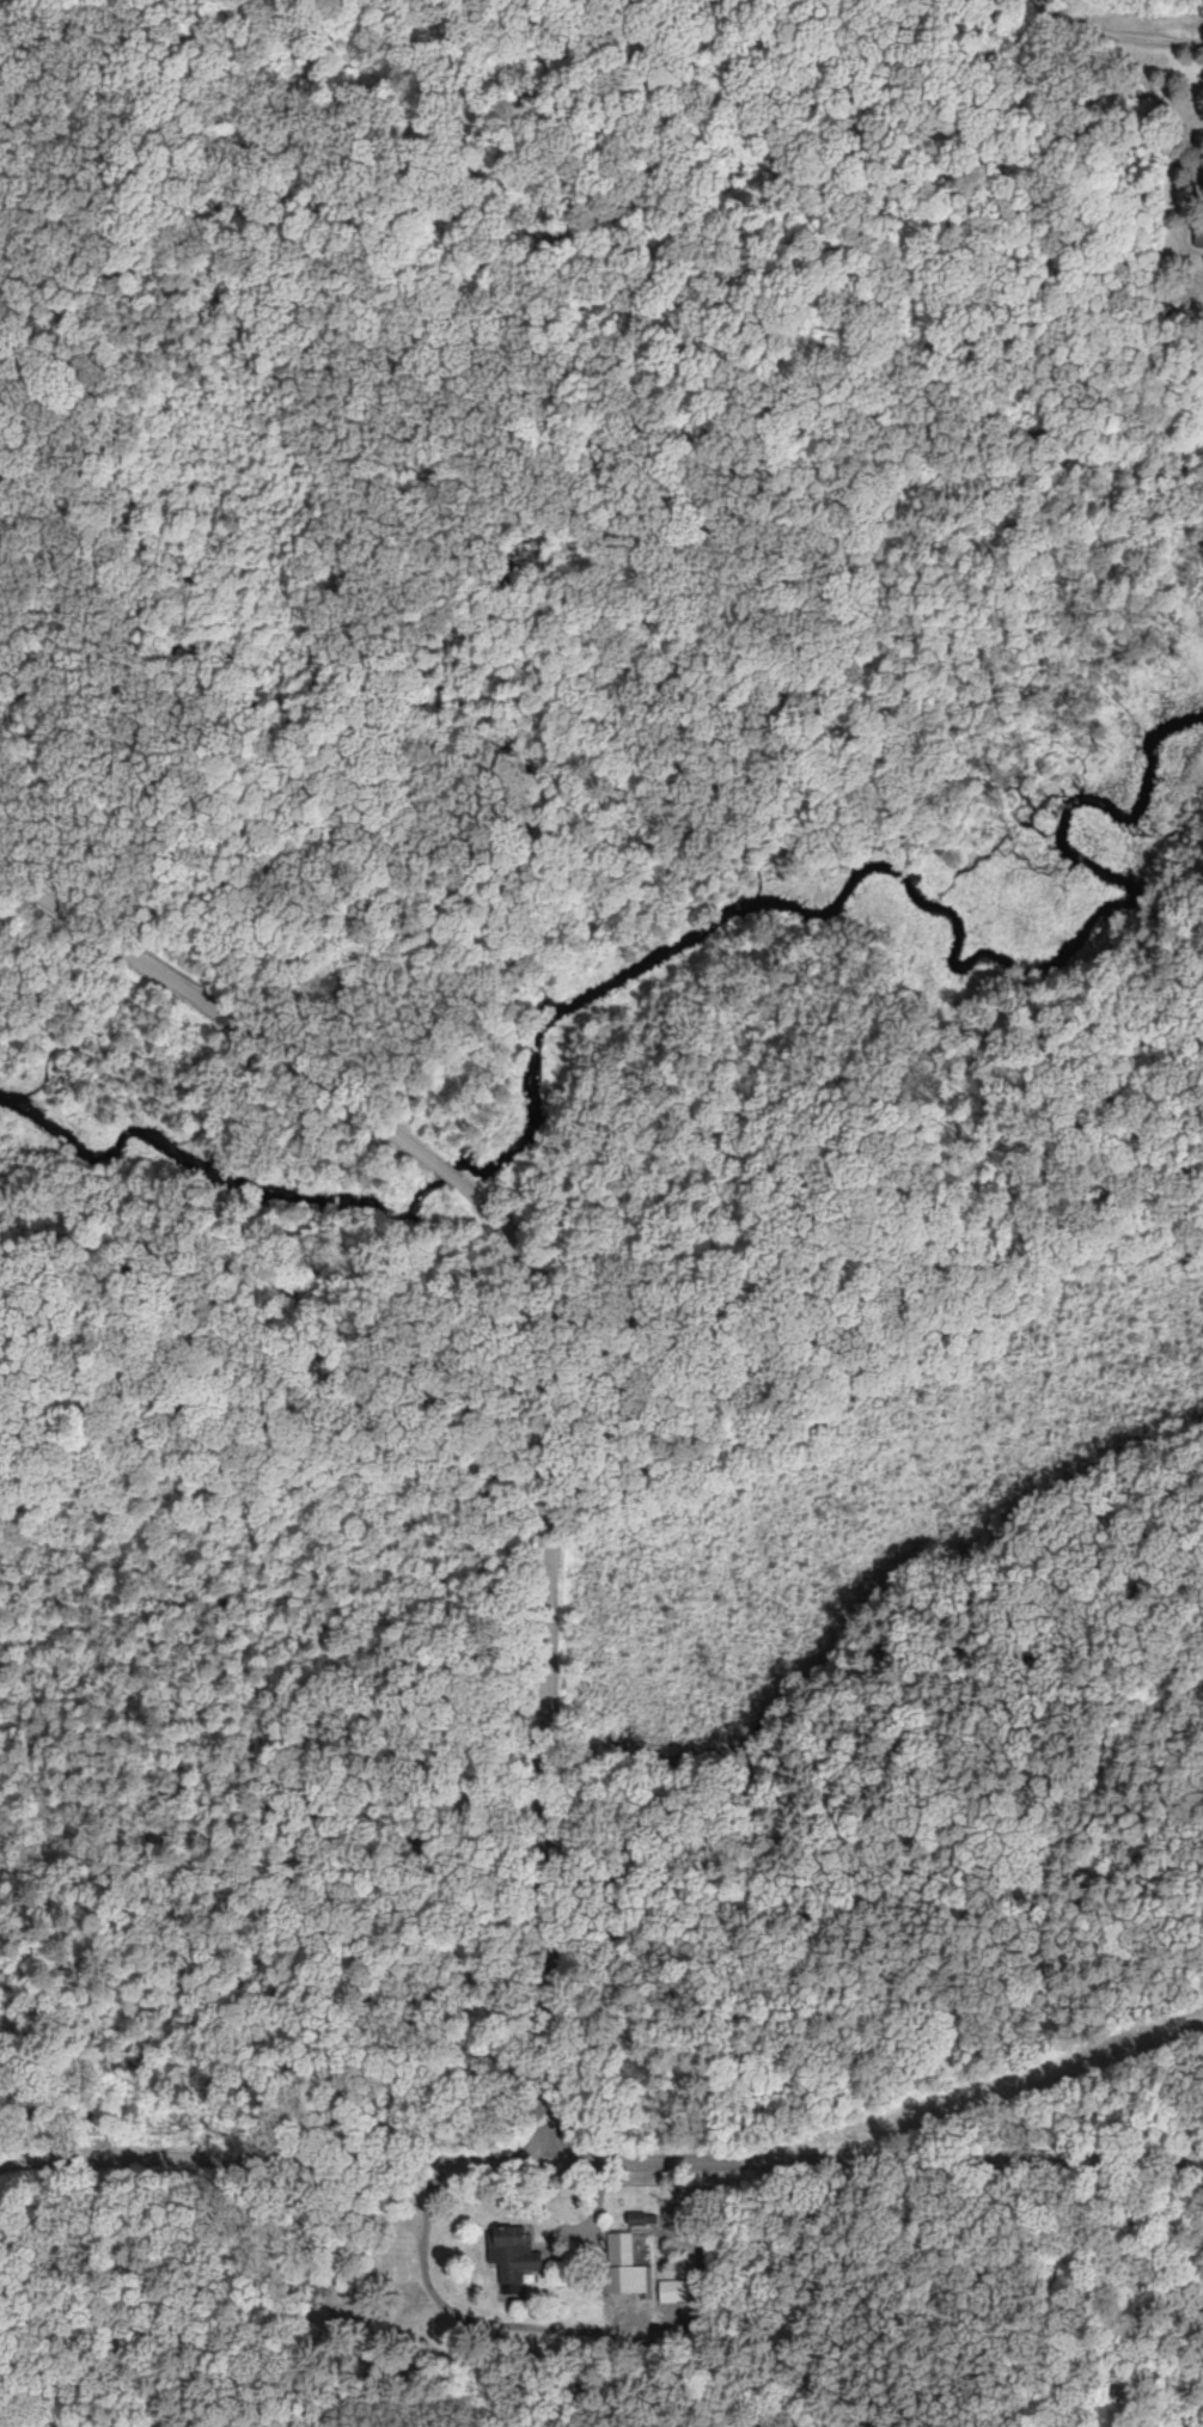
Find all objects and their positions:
road: (1143, 110)
building: (1201, 233)
road: (543, 1382)
road: (279, 2159)
road: (880, 2161)
building: (519, 2251)
building: (629, 2263)
building: (688, 2289)
road: (458, 2310)

